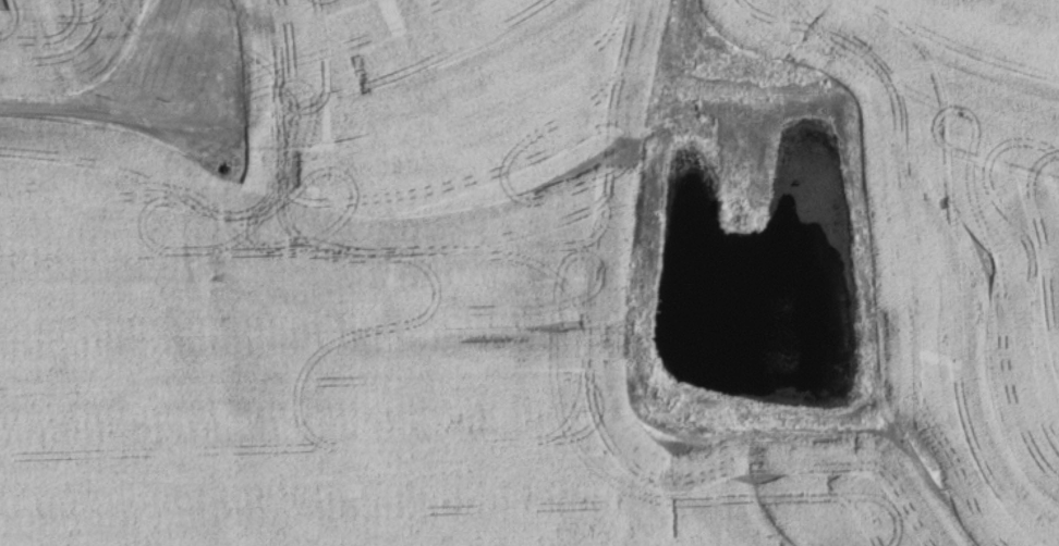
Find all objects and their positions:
building: (252, 101)
road: (108, 113)

